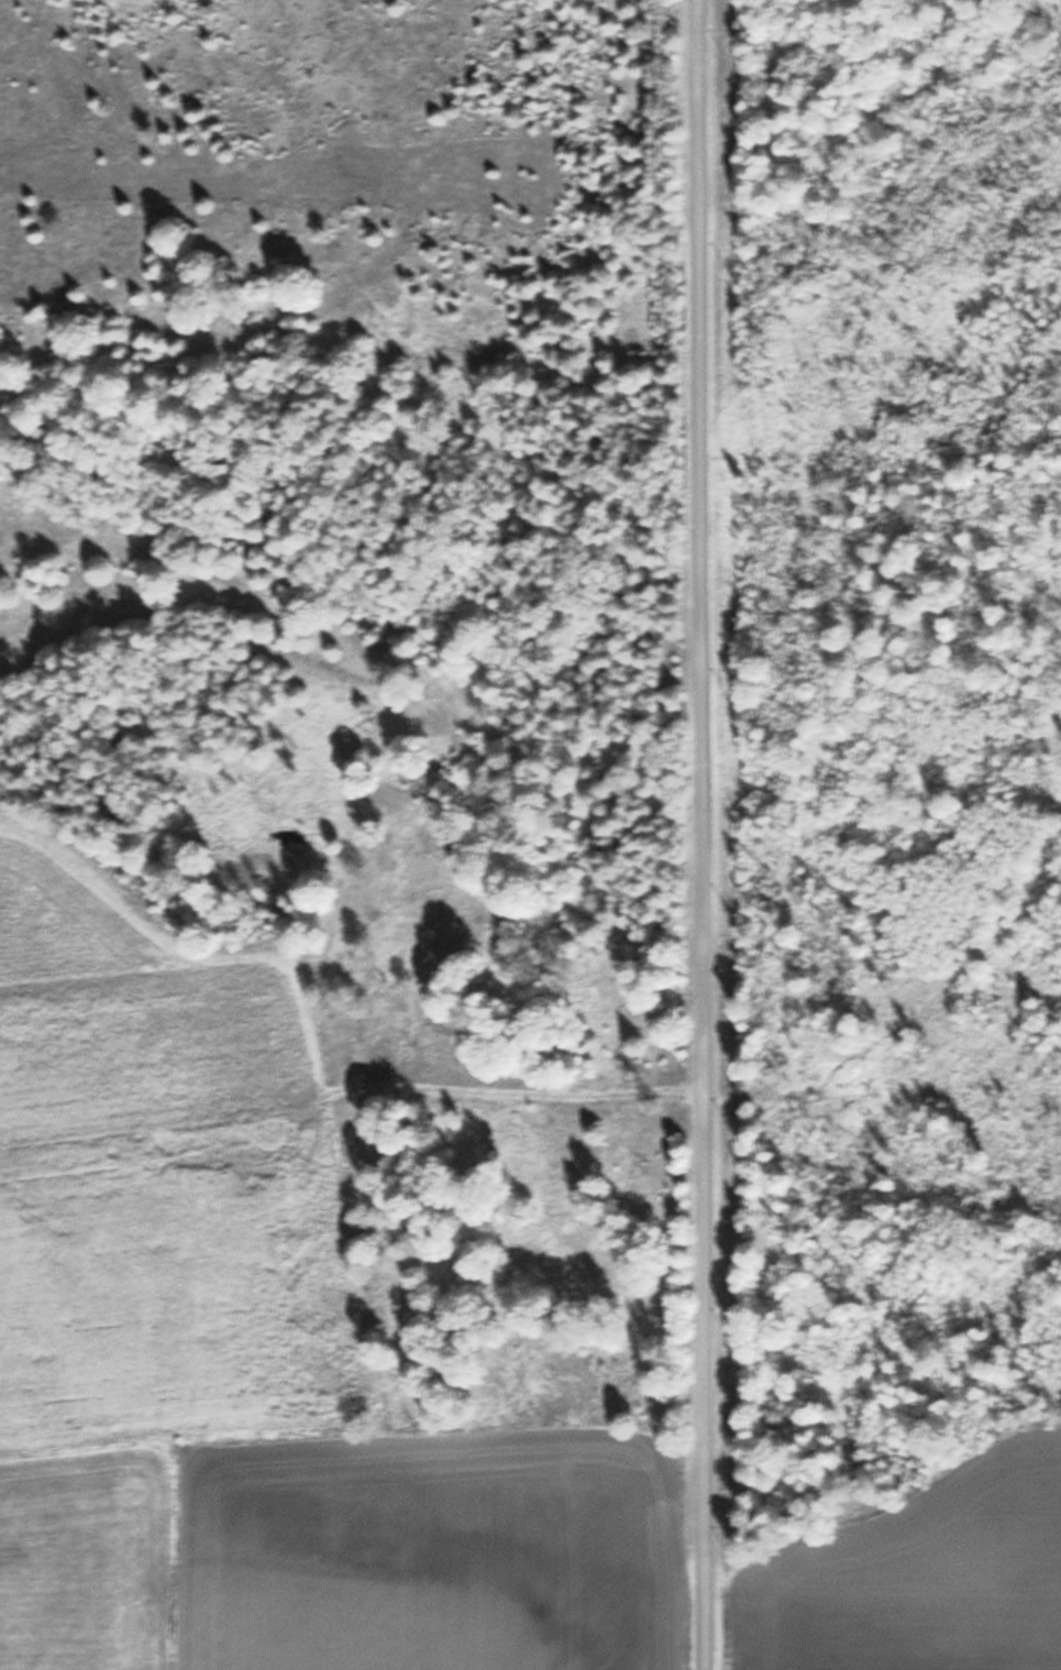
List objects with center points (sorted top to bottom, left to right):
road: (709, 834)

